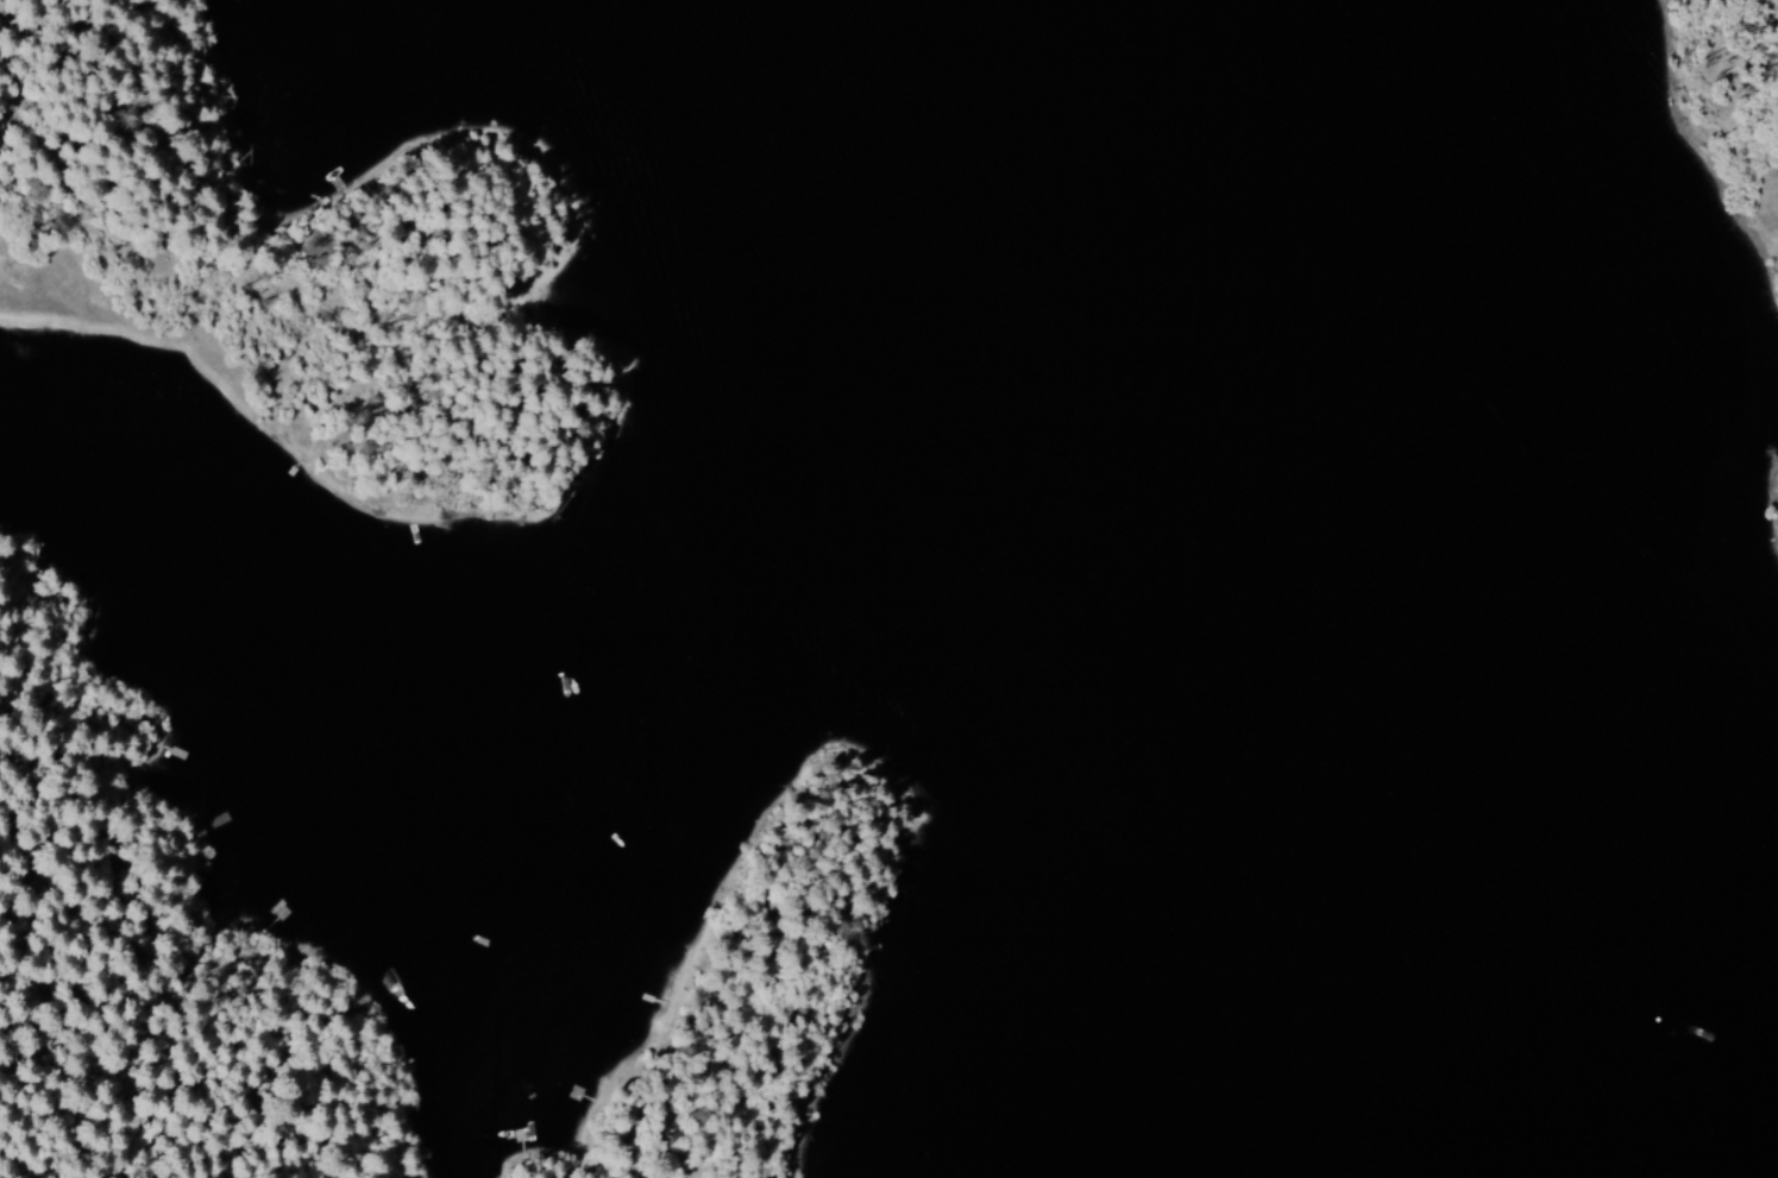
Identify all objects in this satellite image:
river: (1019, 128)
river: (1085, 388)
river: (1202, 862)

